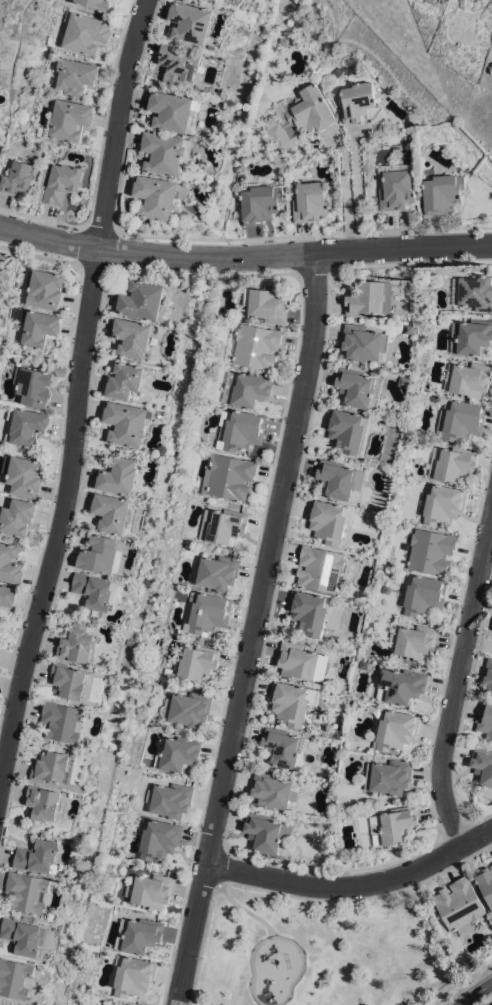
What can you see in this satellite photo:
building: (222, 0)
building: (95, 4)
building: (190, 21)
building: (84, 31)
building: (284, 38)
building: (180, 63)
building: (336, 70)
building: (74, 75)
building: (356, 100)
building: (175, 111)
building: (299, 118)
building: (66, 120)
building: (254, 144)
building: (425, 148)
building: (167, 152)
building: (18, 177)
building: (62, 182)
building: (396, 186)
road: (356, 193)
building: (442, 193)
building: (159, 196)
building: (260, 201)
building: (310, 201)
road: (245, 254)
building: (44, 287)
building: (473, 292)
building: (370, 298)
building: (145, 301)
building: (267, 304)
building: (36, 324)
building: (411, 329)
building: (471, 336)
building: (133, 337)
building: (365, 343)
building: (253, 345)
building: (427, 356)
building: (468, 379)
building: (127, 380)
building: (405, 381)
building: (33, 385)
building: (246, 387)
building: (359, 387)
road: (78, 394)
building: (460, 419)
building: (127, 422)
building: (25, 425)
building: (240, 429)
building: (349, 430)
building: (165, 447)
building: (452, 462)
building: (23, 474)
building: (119, 475)
building: (230, 476)
building: (340, 478)
building: (444, 502)
building: (112, 512)
building: (17, 516)
building: (330, 519)
building: (223, 524)
building: (429, 550)
building: (101, 554)
building: (10, 562)
building: (321, 568)
building: (216, 571)
building: (391, 573)
building: (386, 588)
building: (96, 590)
building: (7, 595)
building: (424, 595)
building: (207, 612)
building: (310, 612)
road: (254, 629)
building: (415, 641)
building: (78, 643)
building: (198, 661)
building: (300, 661)
building: (108, 662)
building: (168, 671)
building: (488, 674)
building: (68, 679)
road: (457, 679)
building: (401, 685)
building: (293, 701)
building: (188, 708)
building: (318, 715)
building: (486, 719)
building: (63, 720)
building: (351, 720)
building: (394, 728)
building: (284, 747)
building: (177, 752)
building: (483, 764)
building: (53, 767)
building: (389, 776)
building: (274, 790)
building: (170, 799)
building: (45, 803)
building: (394, 825)
building: (267, 831)
building: (158, 838)
building: (39, 855)
road: (447, 859)
road: (221, 864)
road: (454, 871)
building: (486, 883)
road: (354, 884)
building: (151, 890)
building: (28, 891)
road: (274, 891)
building: (460, 905)
road: (245, 909)
building: (138, 934)
building: (25, 936)
park: (320, 951)
building: (132, 975)
building: (15, 977)
road: (463, 984)
road: (475, 993)
building: (1, 1004)
building: (106, 1004)
road: (491, 1004)

